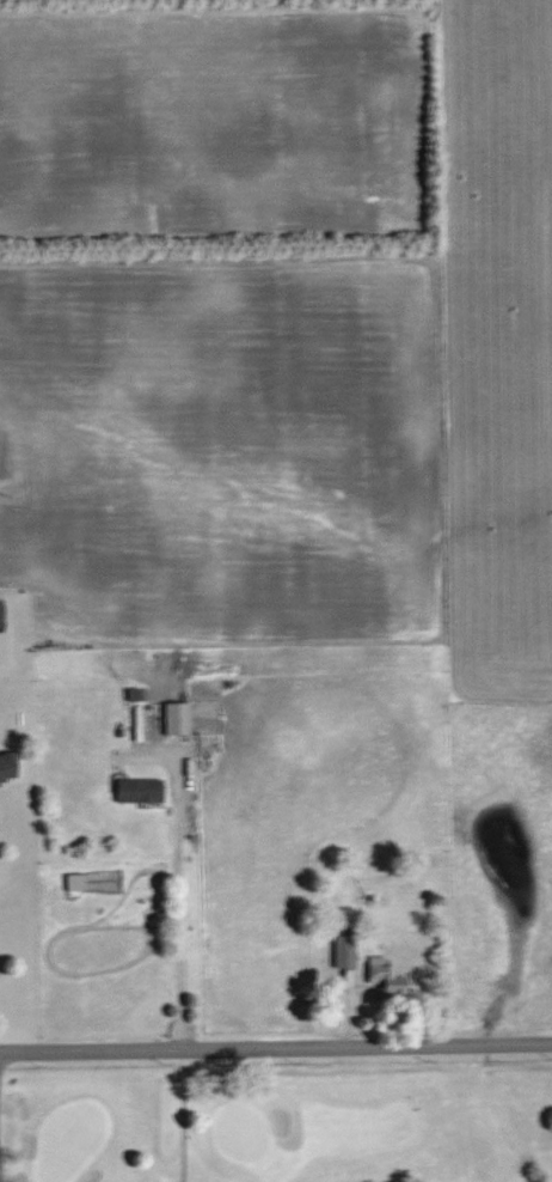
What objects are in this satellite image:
building: (177, 718)
building: (8, 768)
building: (140, 790)
building: (75, 882)
road: (186, 896)
building: (345, 951)
building: (386, 979)
road: (275, 1048)

